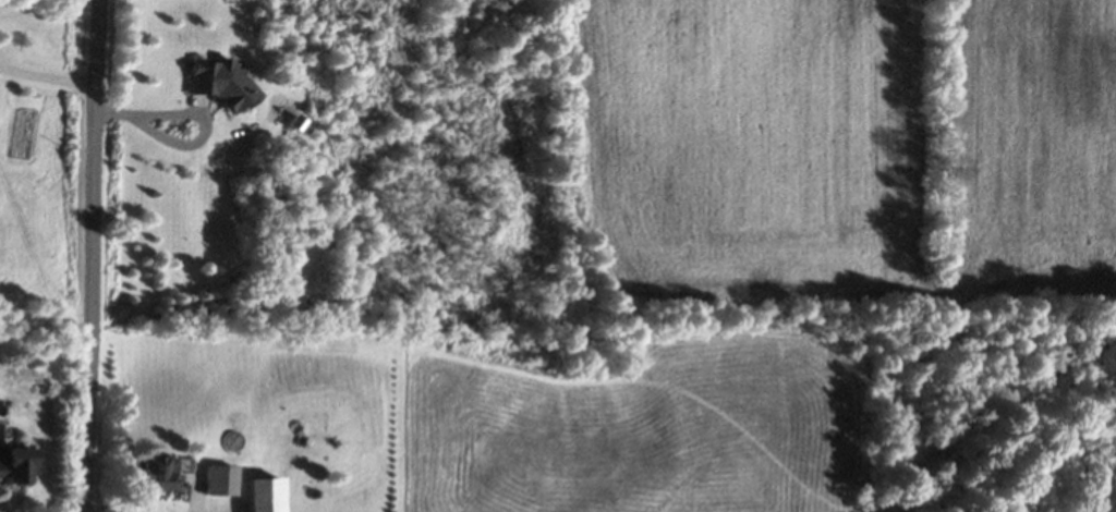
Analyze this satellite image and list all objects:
road: (49, 80)
building: (214, 85)
road: (97, 256)
building: (13, 464)
building: (147, 475)
building: (215, 480)
road: (214, 511)

